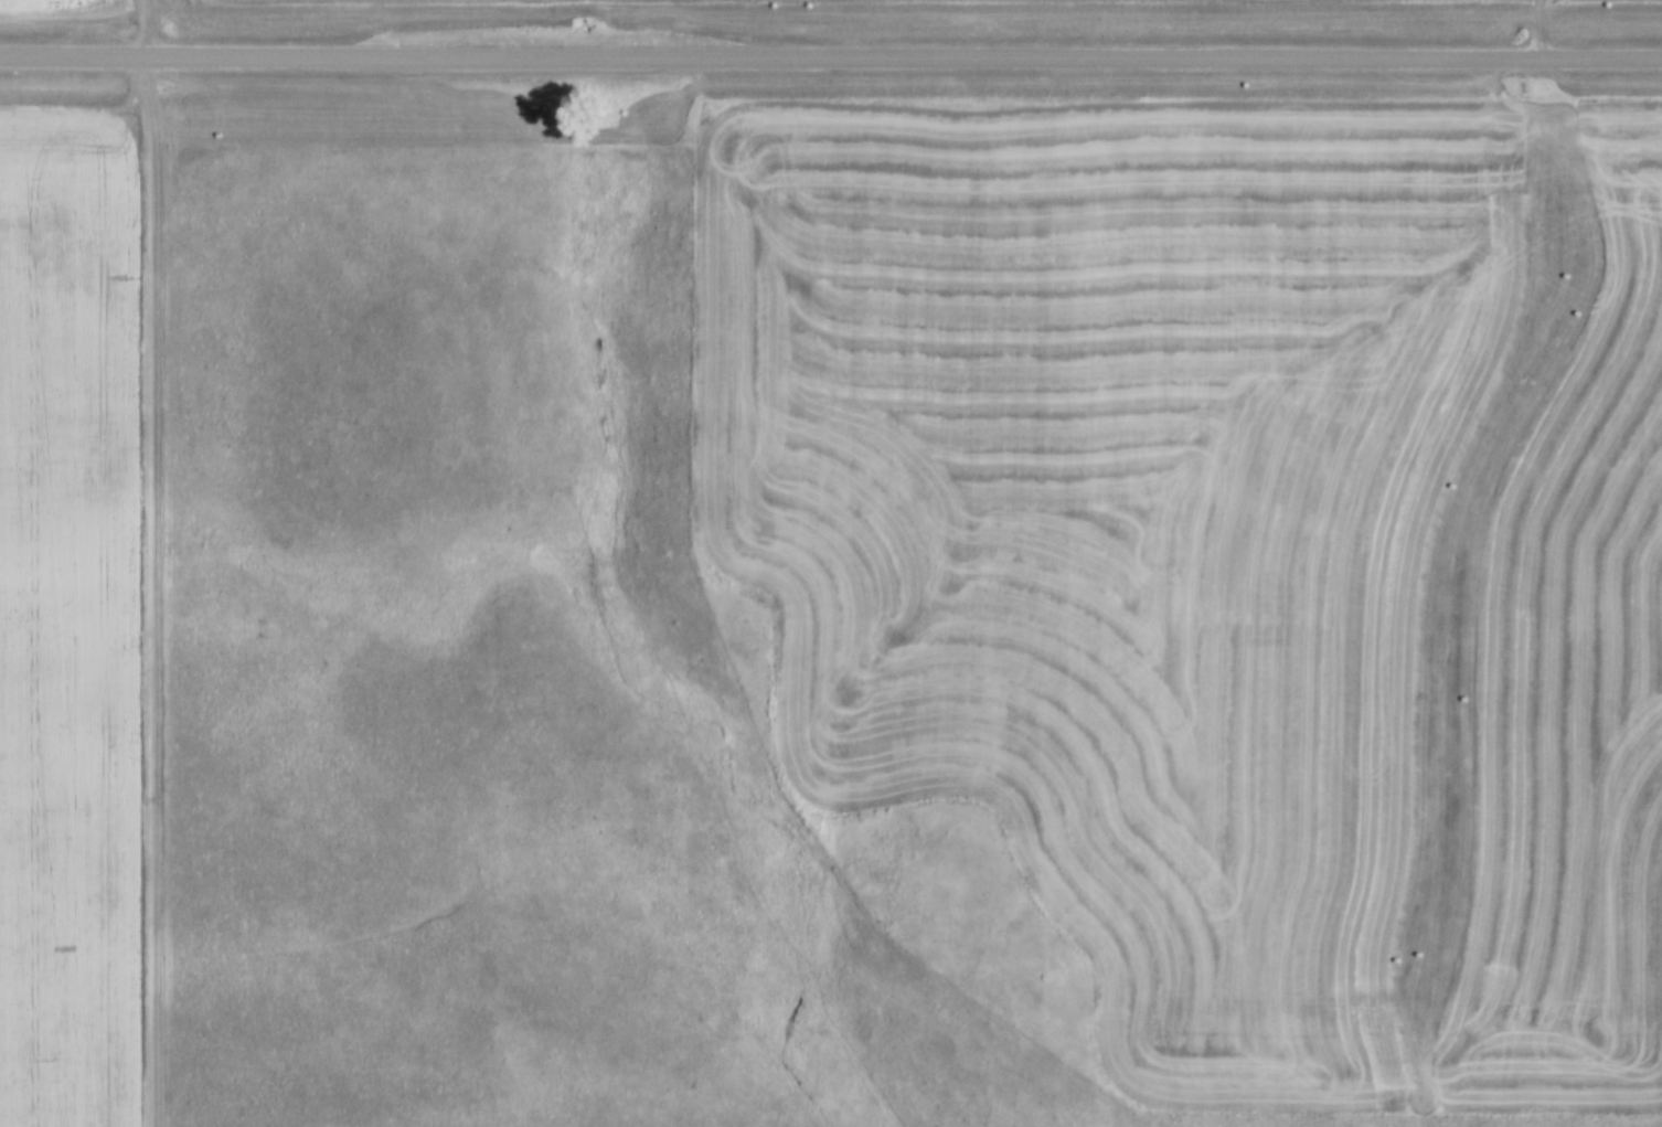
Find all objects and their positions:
crop: (60, 0)
road: (150, 28)
road: (830, 54)
crop: (63, 613)

